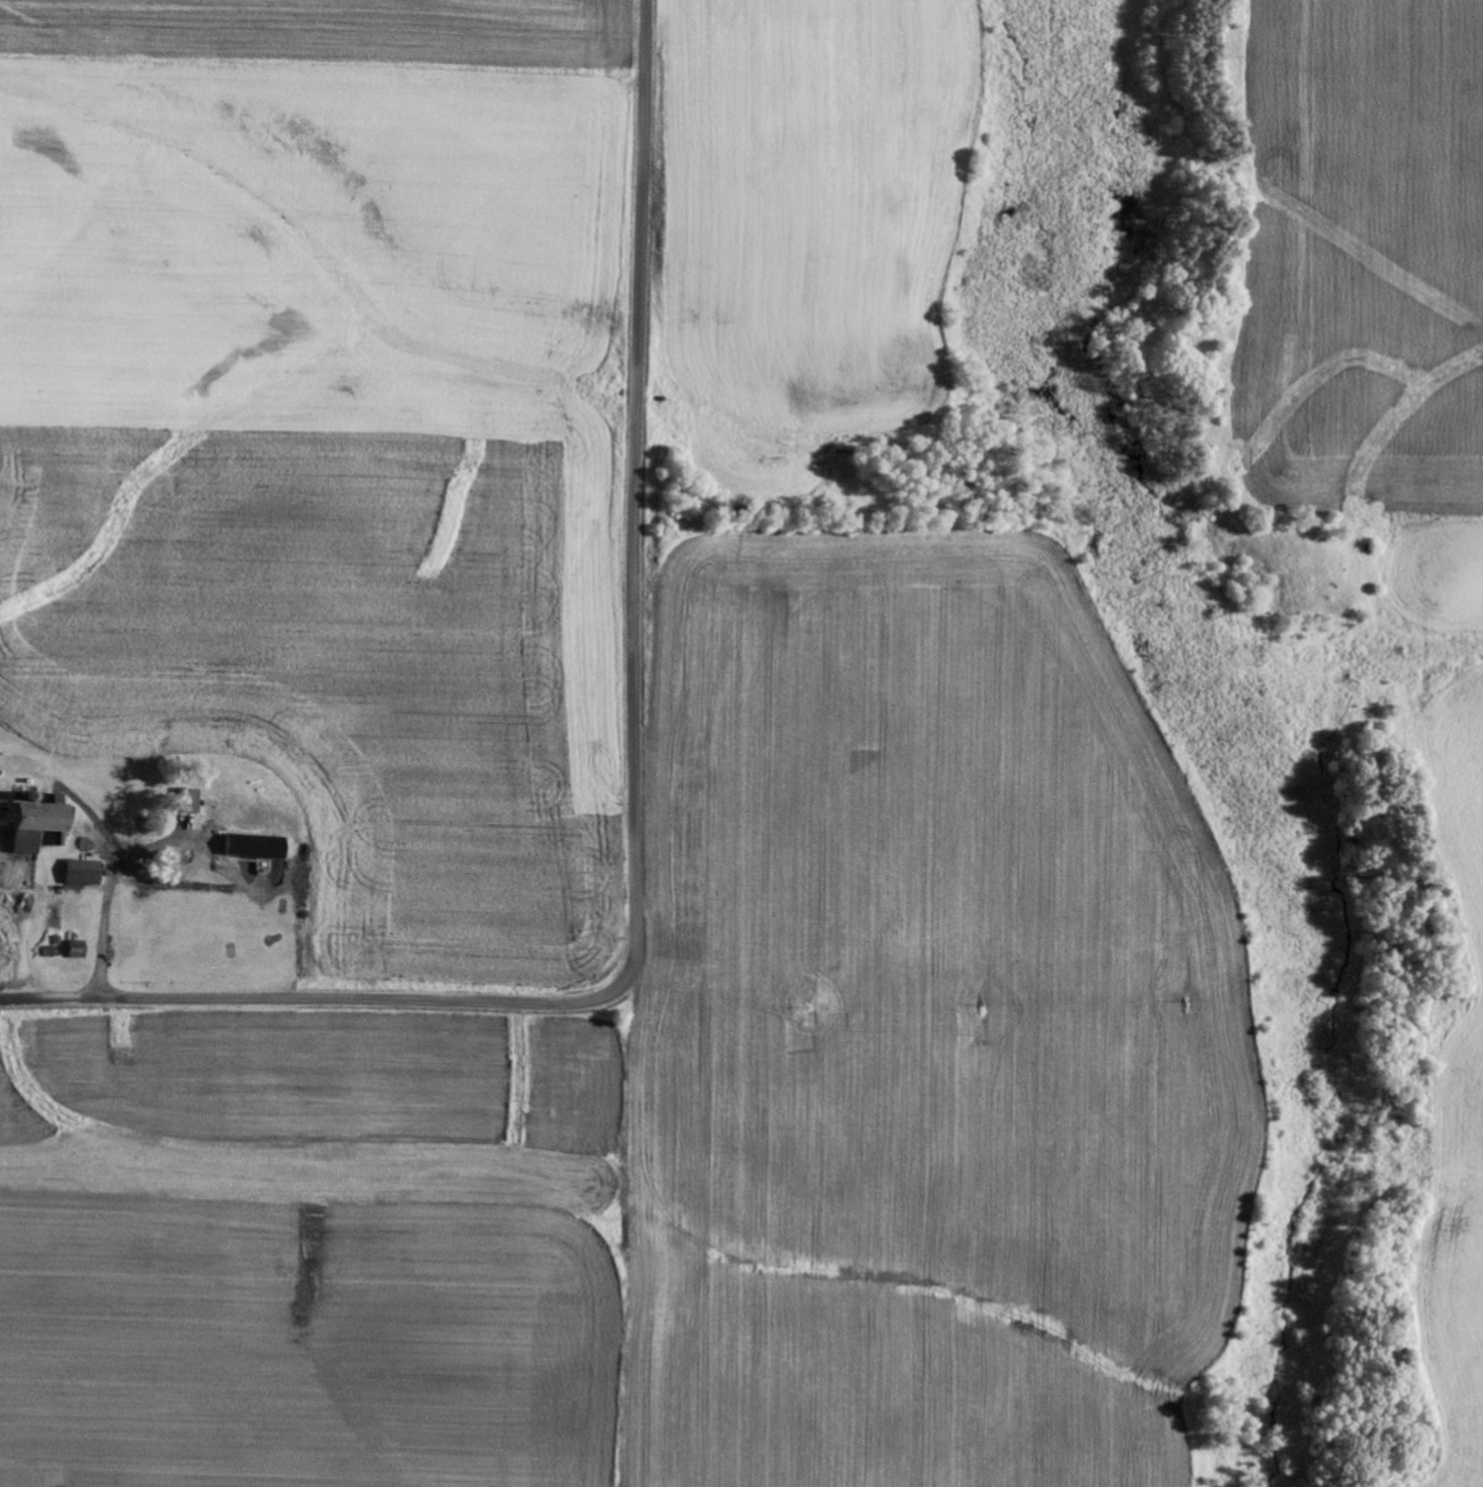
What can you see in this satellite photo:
road: (630, 804)
building: (206, 812)
building: (40, 823)
building: (84, 874)
road: (104, 889)
building: (77, 951)

